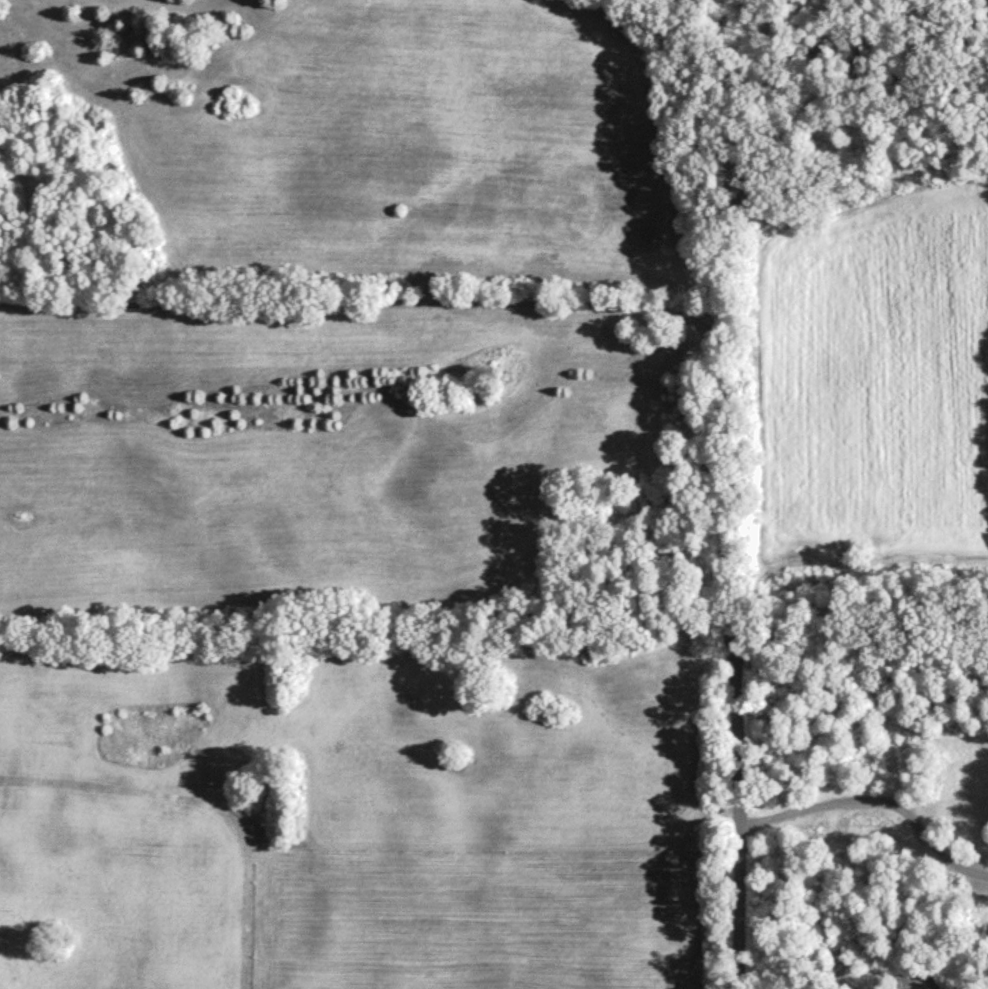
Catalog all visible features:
road: (328, 304)
road: (731, 626)
road: (861, 798)
road: (974, 873)

